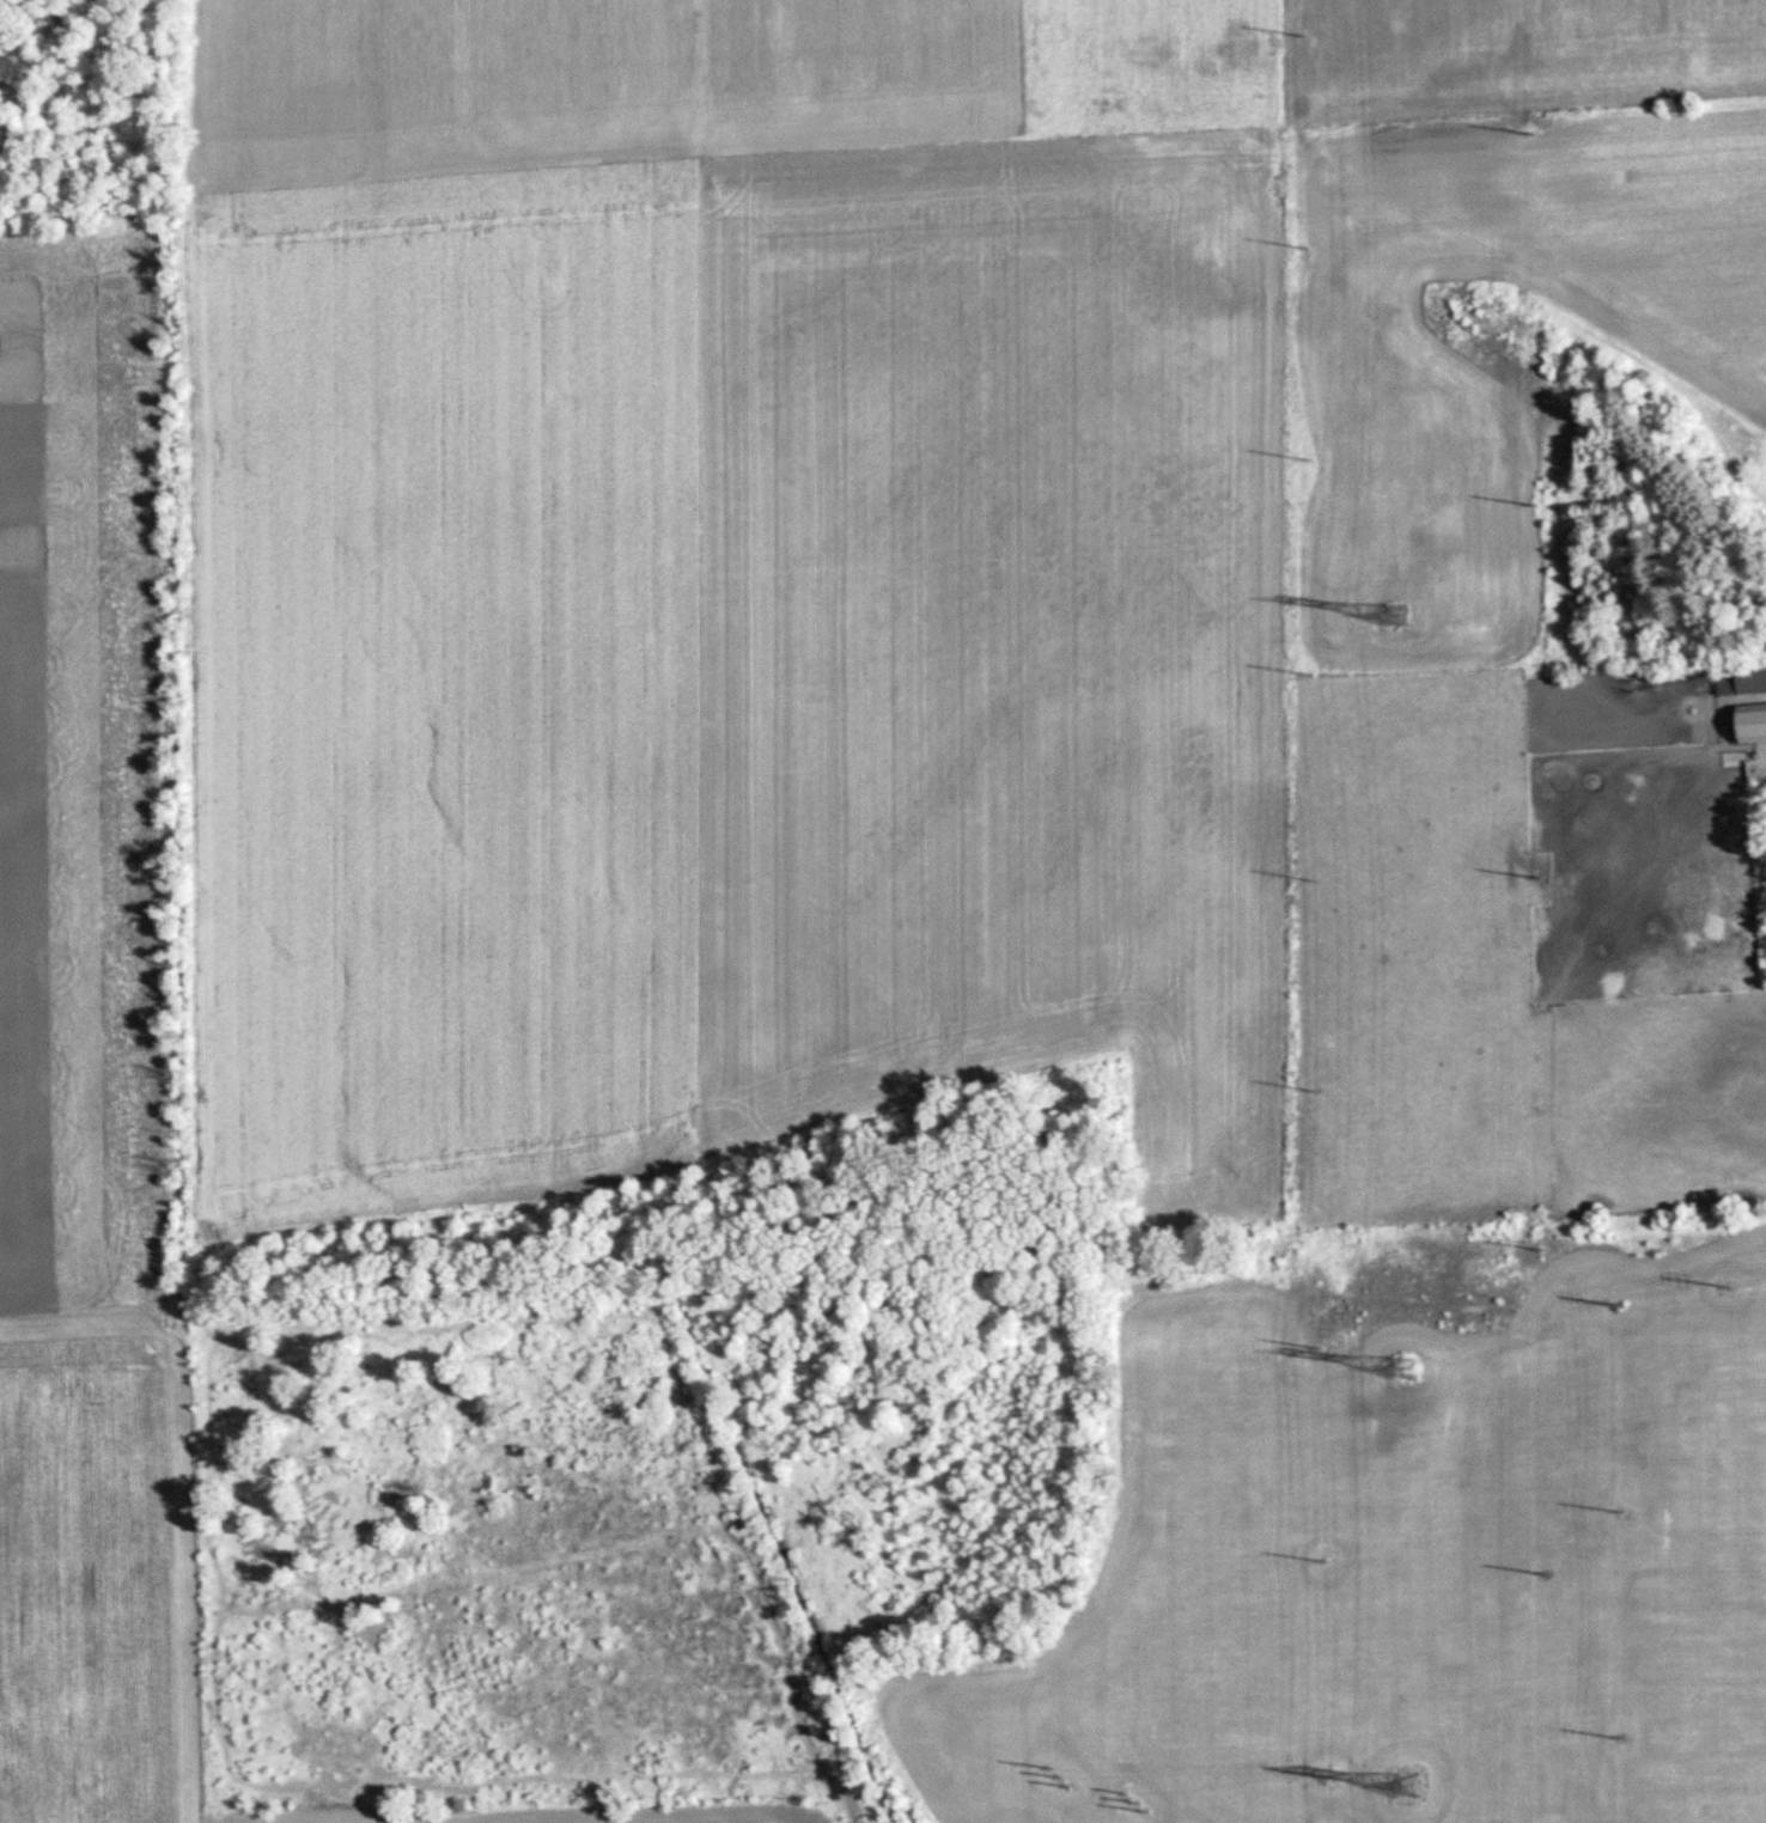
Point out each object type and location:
power tower: (1304, 36)
power tower: (1531, 134)
power tower: (1307, 248)
power tower: (1308, 459)
power tower: (1535, 501)
power tower: (1399, 614)
power tower: (1310, 672)
building: (1744, 679)
building: (1758, 723)
power tower: (1539, 876)
power tower: (1314, 882)
power tower: (1319, 1093)
power tower: (1542, 1248)
power tower: (1321, 1348)
power tower: (1406, 1370)
power tower: (1326, 1561)
power tower: (1546, 1574)
power tower: (1408, 1785)

